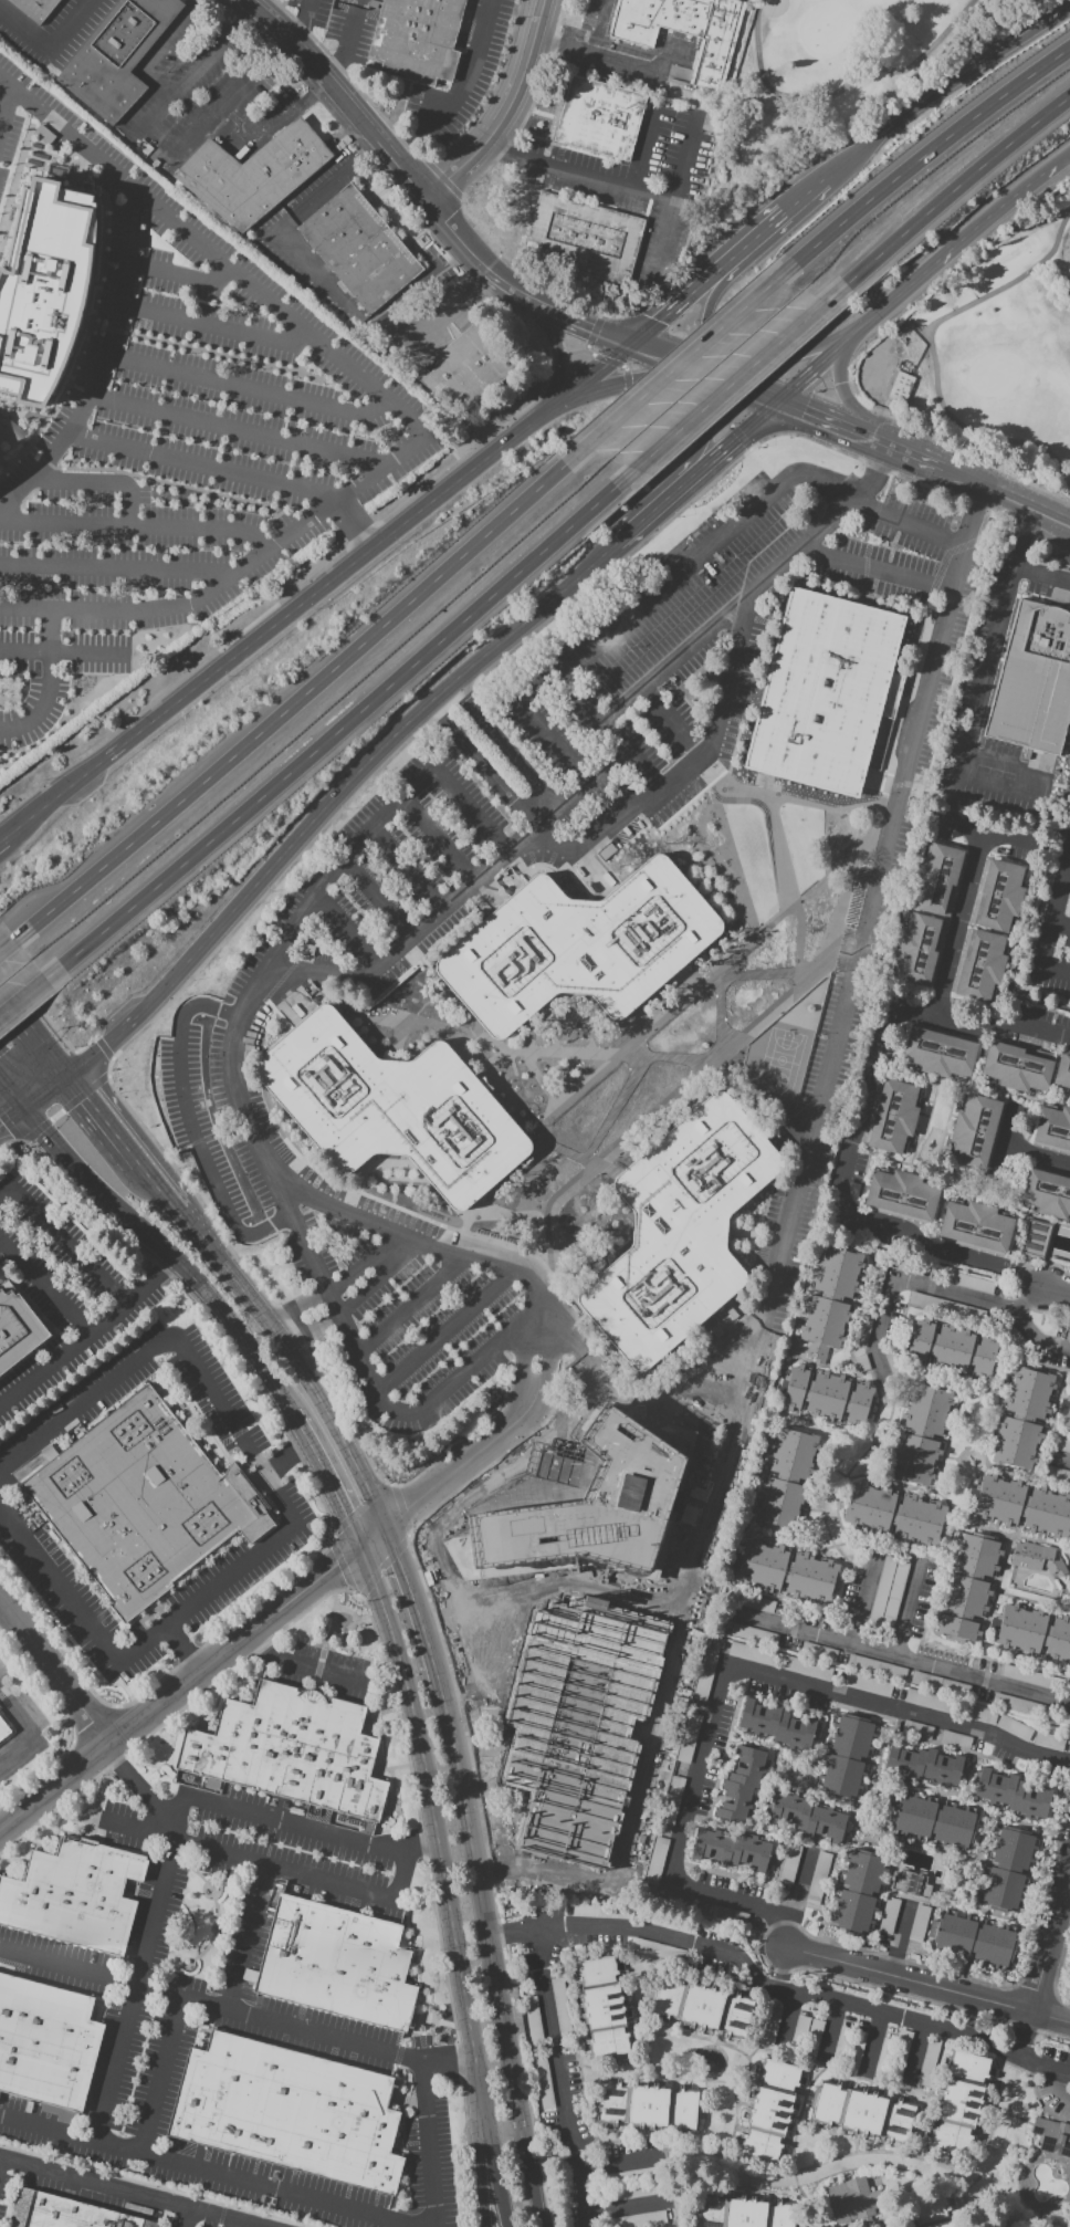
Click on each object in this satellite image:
building: (33, 8)
road: (302, 21)
road: (598, 28)
building: (684, 30)
building: (416, 39)
road: (347, 42)
road: (51, 51)
building: (117, 56)
road: (600, 57)
park: (828, 84)
road: (842, 88)
road: (459, 90)
road: (945, 91)
road: (167, 92)
road: (338, 95)
road: (228, 102)
road: (6, 107)
road: (504, 112)
road: (286, 115)
road: (153, 119)
building: (601, 121)
road: (508, 146)
road: (647, 146)
road: (930, 150)
road: (412, 153)
road: (580, 172)
building: (252, 175)
road: (443, 178)
road: (954, 189)
road: (680, 190)
road: (806, 194)
road: (454, 236)
building: (586, 238)
road: (755, 238)
building: (359, 249)
road: (922, 273)
road: (310, 274)
road: (179, 276)
road: (496, 276)
building: (44, 289)
road: (553, 292)
road: (680, 303)
road: (449, 309)
road: (514, 314)
road: (570, 314)
road: (710, 316)
road: (213, 326)
traffic signals: (637, 342)
park: (992, 344)
road: (585, 347)
road: (931, 348)
road: (556, 349)
road: (103, 356)
road: (673, 356)
road: (786, 359)
road: (617, 363)
road: (680, 363)
building: (465, 367)
road: (584, 383)
road: (744, 384)
road: (617, 385)
road: (248, 388)
road: (728, 388)
road: (842, 394)
traffic signals: (779, 398)
road: (671, 407)
road: (398, 410)
road: (826, 418)
road: (238, 427)
road: (706, 428)
road: (734, 430)
road: (731, 439)
road: (906, 453)
road: (202, 463)
road: (912, 480)
road: (101, 483)
road: (1006, 496)
road: (649, 512)
road: (138, 526)
road: (354, 527)
road: (933, 533)
road: (959, 547)
road: (591, 562)
road: (115, 567)
road: (873, 567)
road: (1040, 573)
road: (286, 594)
road: (643, 599)
road: (271, 628)
road: (51, 630)
road: (693, 640)
road: (24, 650)
road: (82, 651)
road: (725, 679)
building: (1034, 680)
building: (825, 691)
road: (578, 698)
road: (298, 699)
road: (39, 700)
road: (669, 718)
road: (338, 730)
road: (966, 733)
road: (413, 735)
road: (499, 746)
road: (482, 763)
road: (889, 764)
road: (903, 783)
road: (779, 796)
road: (312, 820)
road: (612, 820)
road: (374, 823)
road: (6, 837)
road: (436, 837)
road: (777, 849)
road: (405, 866)
road: (1040, 867)
road: (1066, 876)
building: (937, 880)
road: (375, 893)
building: (998, 895)
road: (436, 908)
road: (1049, 921)
road: (961, 923)
road: (1060, 923)
road: (345, 928)
road: (15, 943)
building: (576, 945)
building: (917, 949)
building: (979, 964)
road: (812, 970)
road: (688, 975)
road: (757, 975)
road: (30, 994)
road: (282, 996)
road: (15, 1003)
road: (718, 1014)
road: (763, 1014)
road: (979, 1024)
road: (639, 1034)
road: (462, 1037)
road: (49, 1046)
road: (103, 1046)
road: (568, 1053)
building: (938, 1053)
road: (669, 1056)
park: (779, 1059)
road: (604, 1064)
building: (1016, 1066)
traffic signals: (67, 1070)
building: (1062, 1070)
road: (43, 1088)
road: (9, 1092)
road: (678, 1104)
traffic signals: (19, 1106)
building: (389, 1107)
road: (64, 1108)
road: (651, 1109)
road: (9, 1112)
building: (892, 1116)
road: (860, 1118)
building: (1053, 1128)
building: (975, 1131)
road: (120, 1135)
road: (1007, 1148)
road: (537, 1150)
road: (1038, 1158)
road: (605, 1167)
building: (1046, 1193)
building: (900, 1194)
road: (507, 1201)
road: (365, 1203)
road: (790, 1204)
road: (535, 1217)
road: (134, 1221)
road: (373, 1221)
road: (263, 1224)
building: (975, 1226)
building: (678, 1231)
building: (1035, 1238)
road: (63, 1241)
road: (937, 1257)
road: (222, 1258)
road: (462, 1278)
building: (967, 1282)
road: (921, 1284)
road: (43, 1286)
road: (1057, 1289)
road: (1028, 1297)
building: (829, 1301)
building: (938, 1304)
road: (496, 1307)
road: (555, 1319)
building: (17, 1329)
road: (87, 1329)
road: (510, 1332)
road: (360, 1335)
road: (472, 1336)
building: (951, 1350)
road: (536, 1355)
building: (861, 1363)
road: (266, 1378)
road: (457, 1381)
road: (539, 1384)
road: (639, 1397)
building: (827, 1397)
building: (1069, 1397)
road: (524, 1403)
road: (481, 1418)
building: (1021, 1418)
road: (331, 1419)
building: (1067, 1419)
building: (920, 1433)
building: (1060, 1445)
road: (449, 1455)
road: (285, 1460)
road: (472, 1460)
road: (1059, 1460)
building: (1057, 1475)
building: (786, 1480)
road: (325, 1482)
building: (141, 1502)
building: (1024, 1506)
building: (894, 1515)
road: (291, 1517)
road: (392, 1517)
traffic signals: (385, 1524)
road: (371, 1537)
traffic signals: (358, 1550)
building: (1038, 1559)
building: (786, 1571)
building: (966, 1586)
road: (419, 1599)
road: (903, 1609)
road: (6, 1614)
building: (1034, 1633)
building: (753, 1635)
road: (233, 1648)
road: (665, 1650)
road: (183, 1651)
road: (881, 1651)
building: (817, 1652)
building: (747, 1653)
road: (304, 1665)
road: (722, 1667)
building: (875, 1667)
building: (808, 1669)
road: (54, 1670)
building: (704, 1676)
building: (940, 1684)
building: (866, 1685)
building: (1022, 1705)
building: (950, 1706)
building: (776, 1725)
building: (1014, 1727)
road: (28, 1728)
building: (3, 1729)
building: (916, 1731)
road: (643, 1733)
building: (954, 1740)
building: (1049, 1740)
building: (287, 1752)
building: (847, 1755)
building: (923, 1765)
building: (742, 1785)
road: (54, 1786)
building: (1013, 1795)
road: (627, 1800)
building: (670, 1807)
road: (259, 1818)
building: (806, 1819)
building: (934, 1821)
road: (437, 1829)
road: (496, 1829)
building: (731, 1850)
road: (229, 1853)
building: (653, 1861)
building: (789, 1864)
building: (1007, 1870)
building: (818, 1879)
building: (913, 1885)
building: (858, 1891)
road: (795, 1896)
building: (78, 1897)
road: (486, 1909)
building: (888, 1916)
building: (919, 1923)
road: (641, 1928)
road: (246, 1936)
road: (898, 1940)
building: (974, 1940)
road: (1050, 1942)
building: (657, 1951)
building: (335, 1963)
road: (1057, 1963)
road: (137, 1985)
road: (927, 1985)
building: (700, 2007)
building: (601, 2008)
road: (874, 2012)
road: (785, 2017)
road: (289, 2025)
building: (769, 2026)
road: (830, 2029)
building: (805, 2035)
road: (1025, 2036)
road: (871, 2039)
building: (46, 2043)
building: (850, 2043)
road: (914, 2051)
building: (891, 2056)
building: (927, 2062)
road: (447, 2064)
road: (1043, 2066)
road: (160, 2074)
road: (557, 2076)
building: (959, 2102)
building: (646, 2106)
building: (287, 2111)
building: (769, 2111)
building: (861, 2113)
building: (1051, 2136)
road: (620, 2162)
road: (1, 2163)
road: (211, 2171)
road: (486, 2172)
road: (494, 2172)
road: (533, 2184)
road: (136, 2191)
building: (852, 2200)
road: (622, 2207)
building: (929, 2212)
building: (67, 2213)
building: (742, 2214)
road: (189, 2216)

